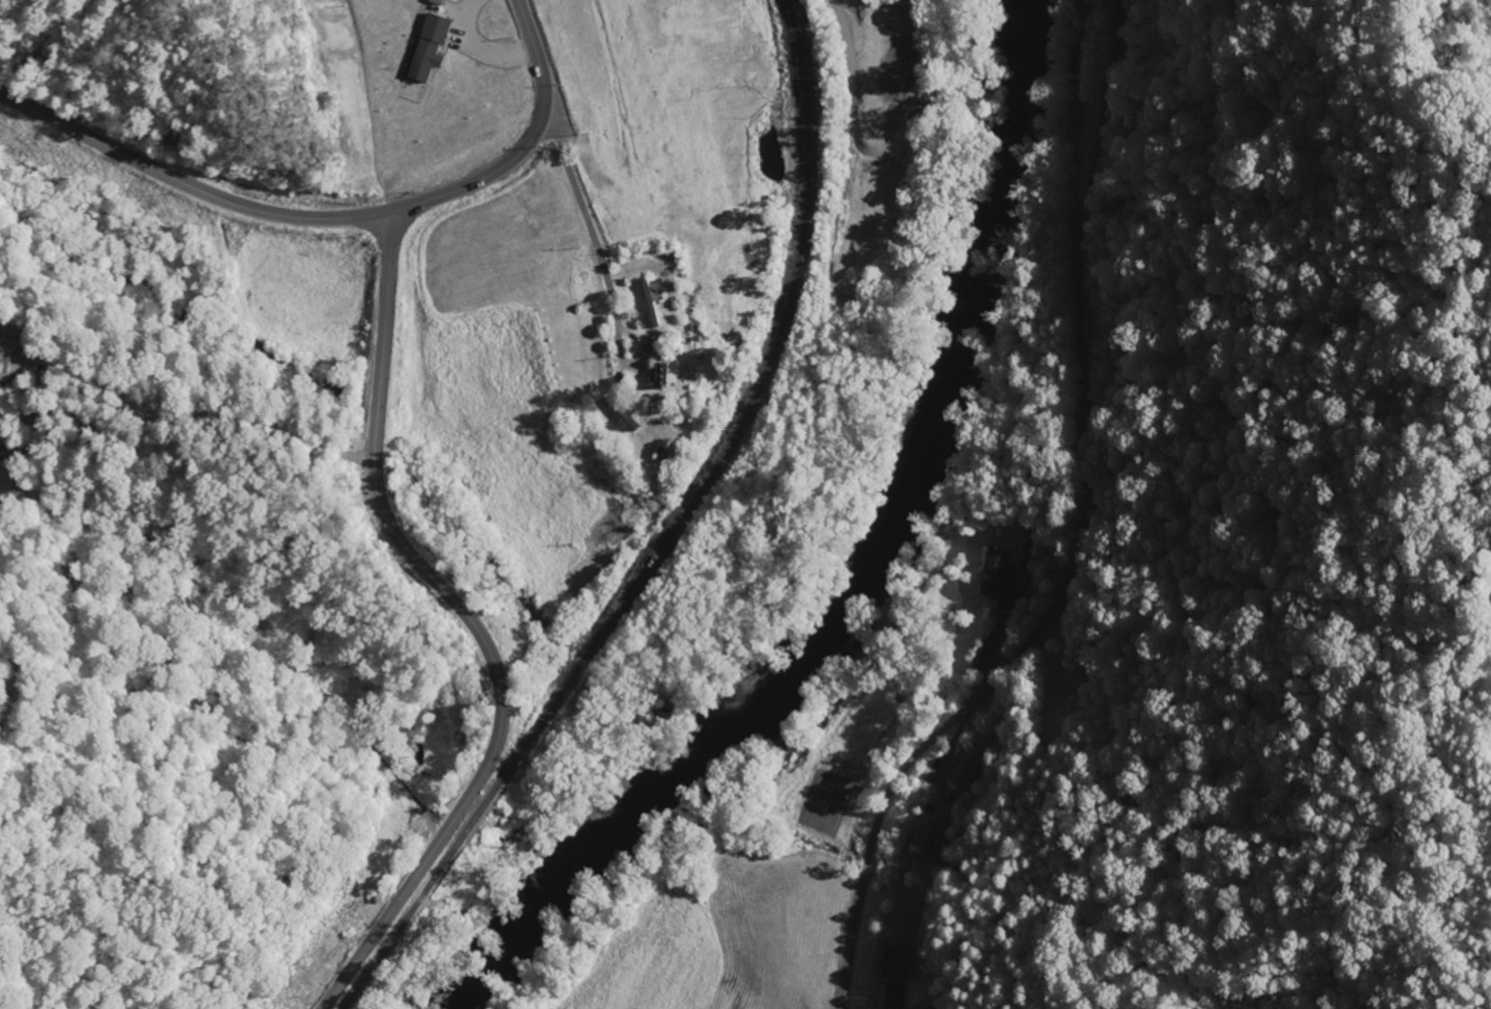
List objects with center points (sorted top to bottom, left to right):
road: (525, 144)
road: (577, 184)
road: (187, 185)
railway: (668, 537)
road: (1082, 542)
river: (867, 565)
road: (1022, 575)
road: (469, 623)
building: (896, 964)

